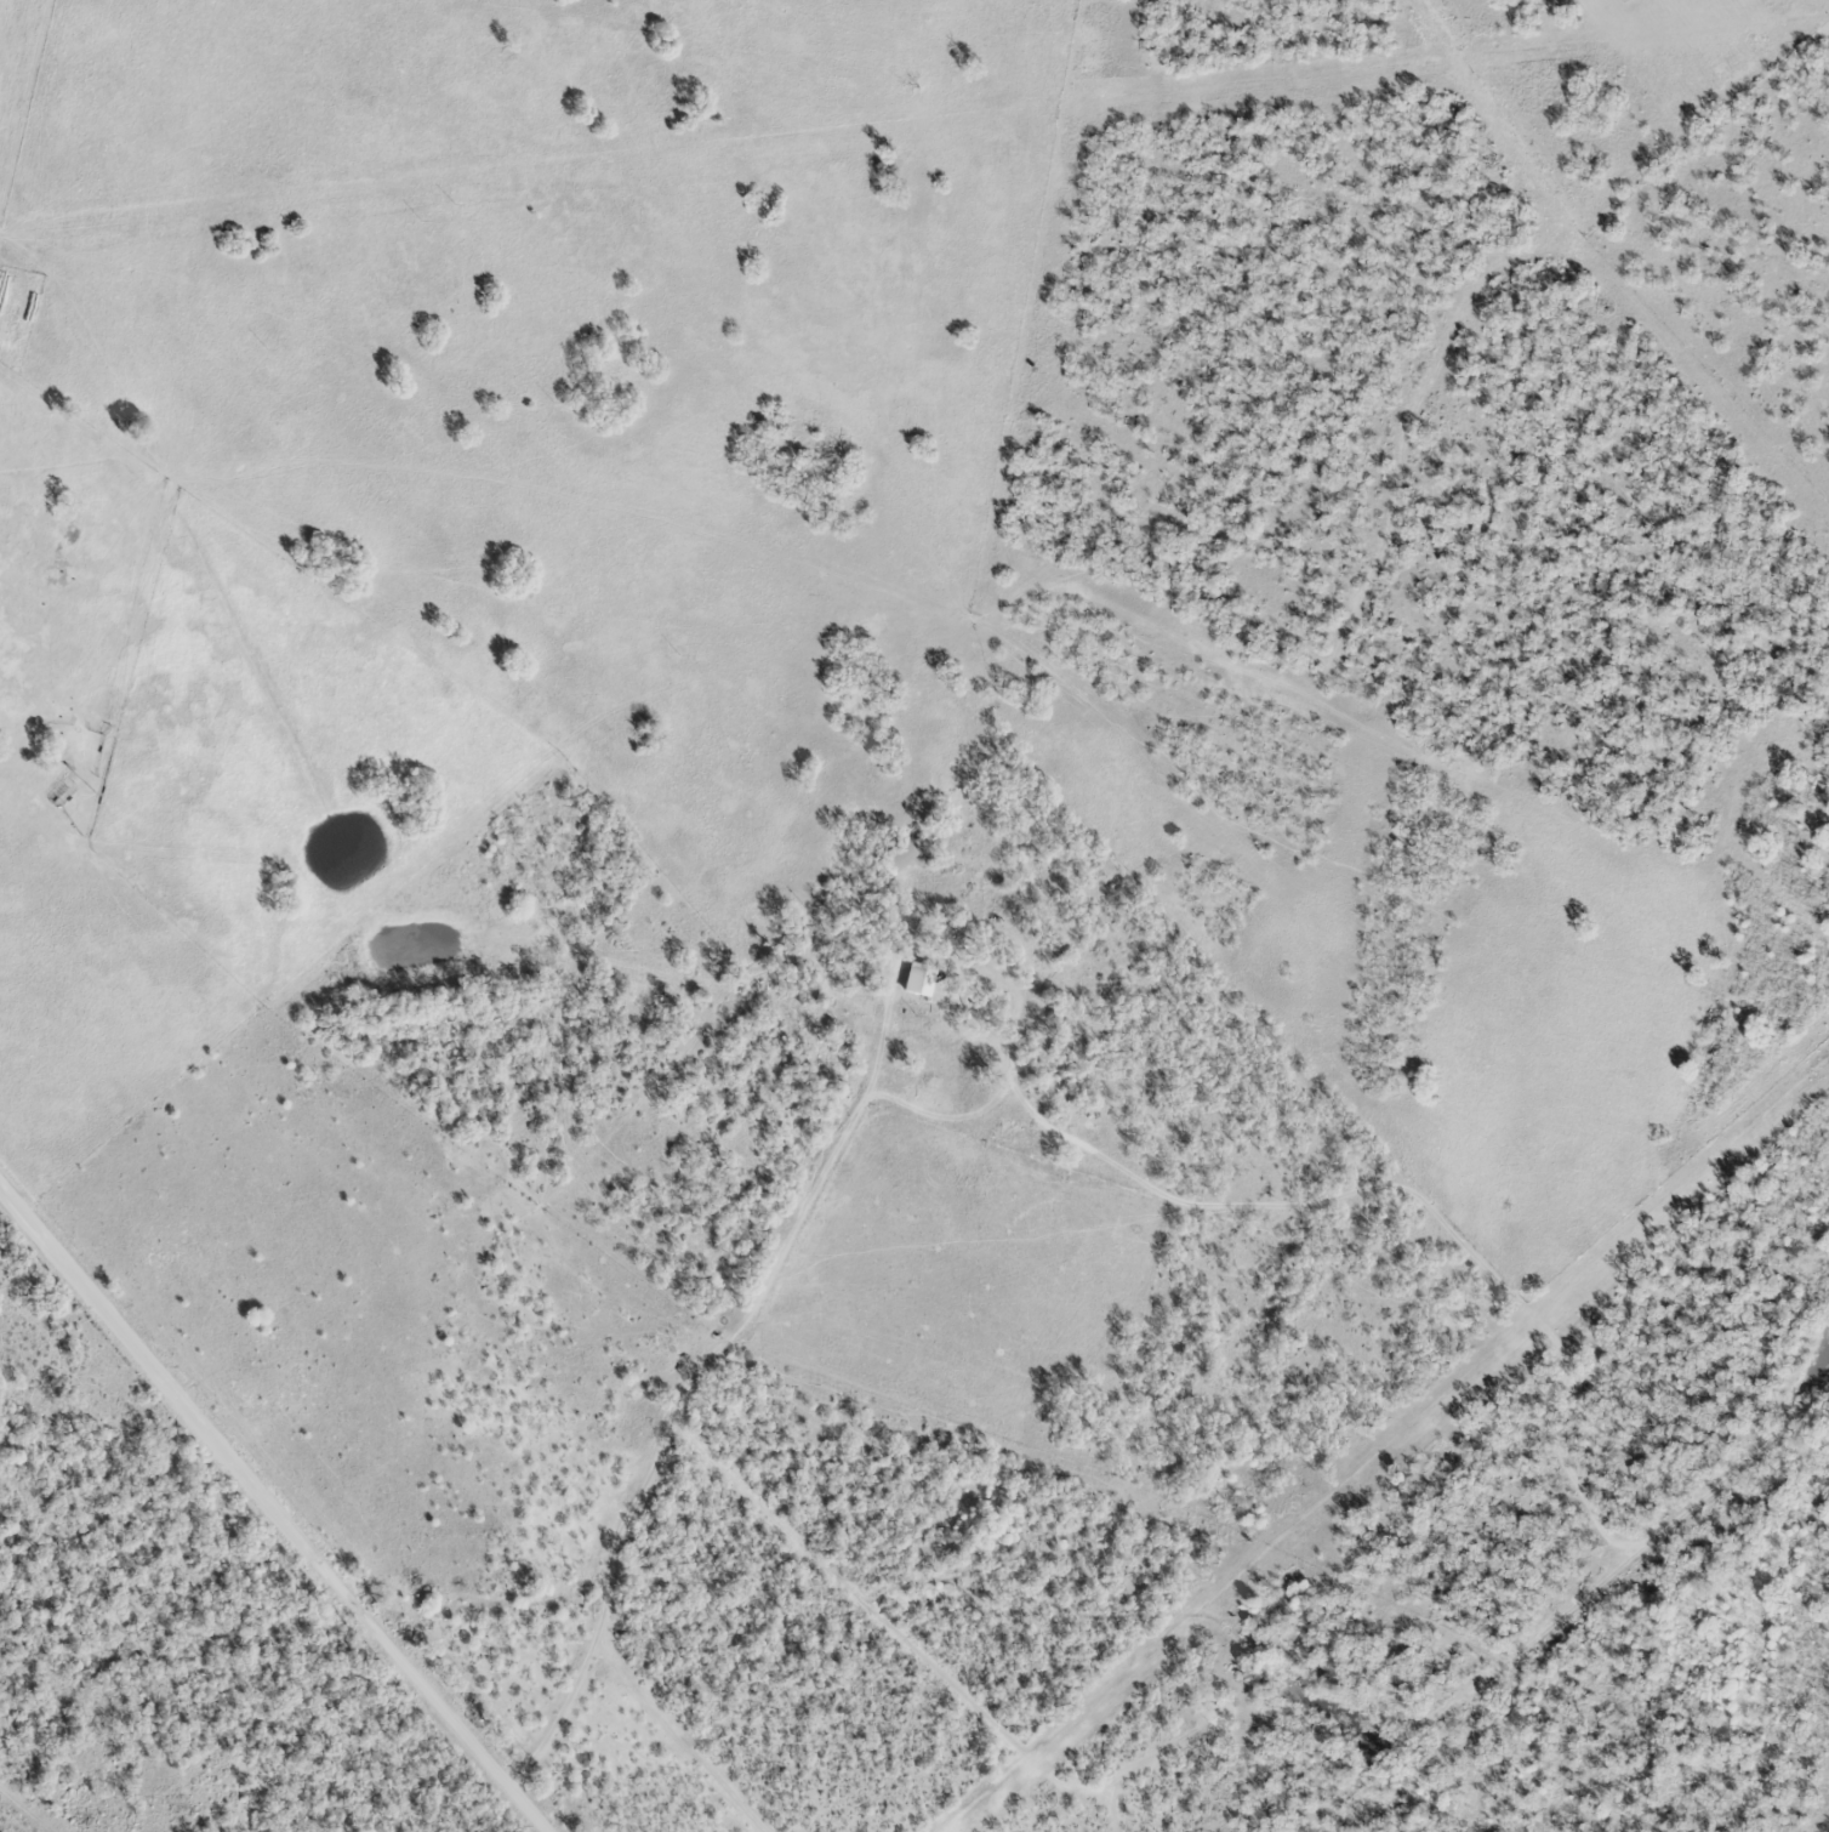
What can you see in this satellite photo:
building: (891, 855)
building: (912, 982)
road: (745, 1324)
road: (273, 1512)

